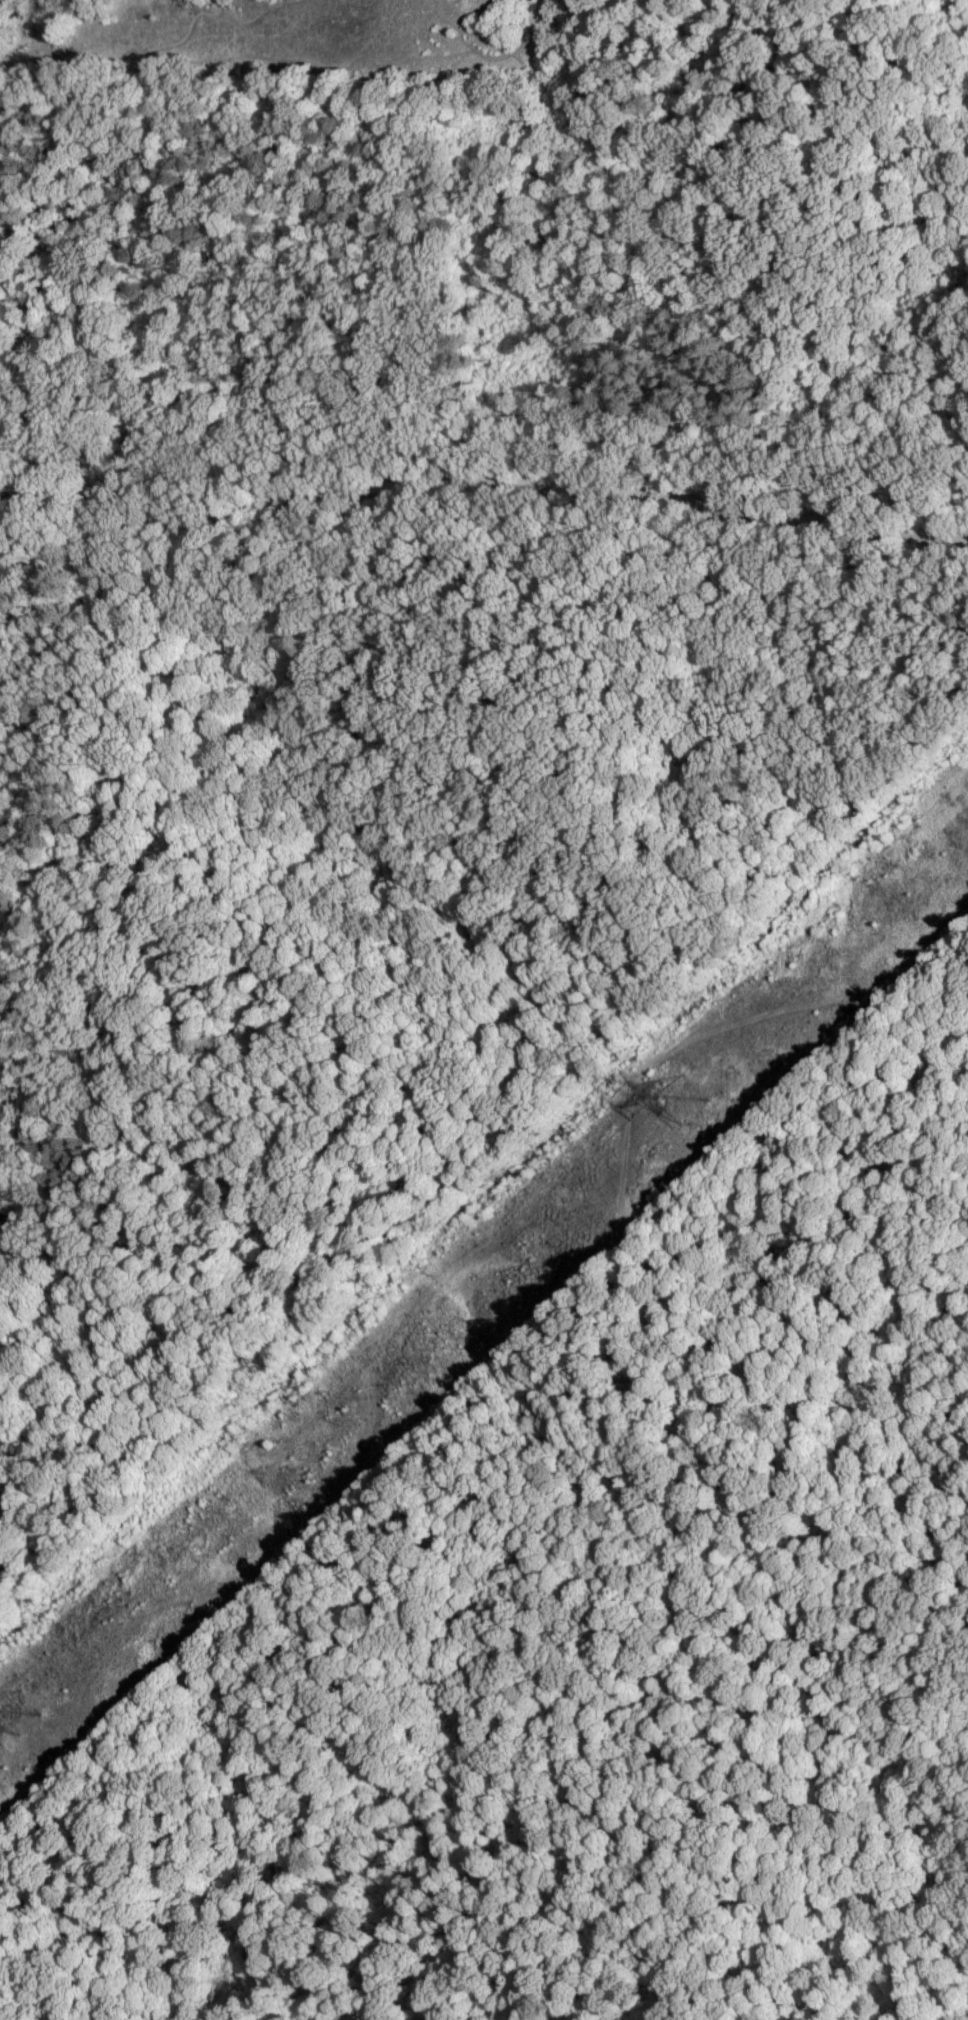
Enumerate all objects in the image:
road: (482, 503)
power tower: (686, 1108)
power tower: (13, 1714)

